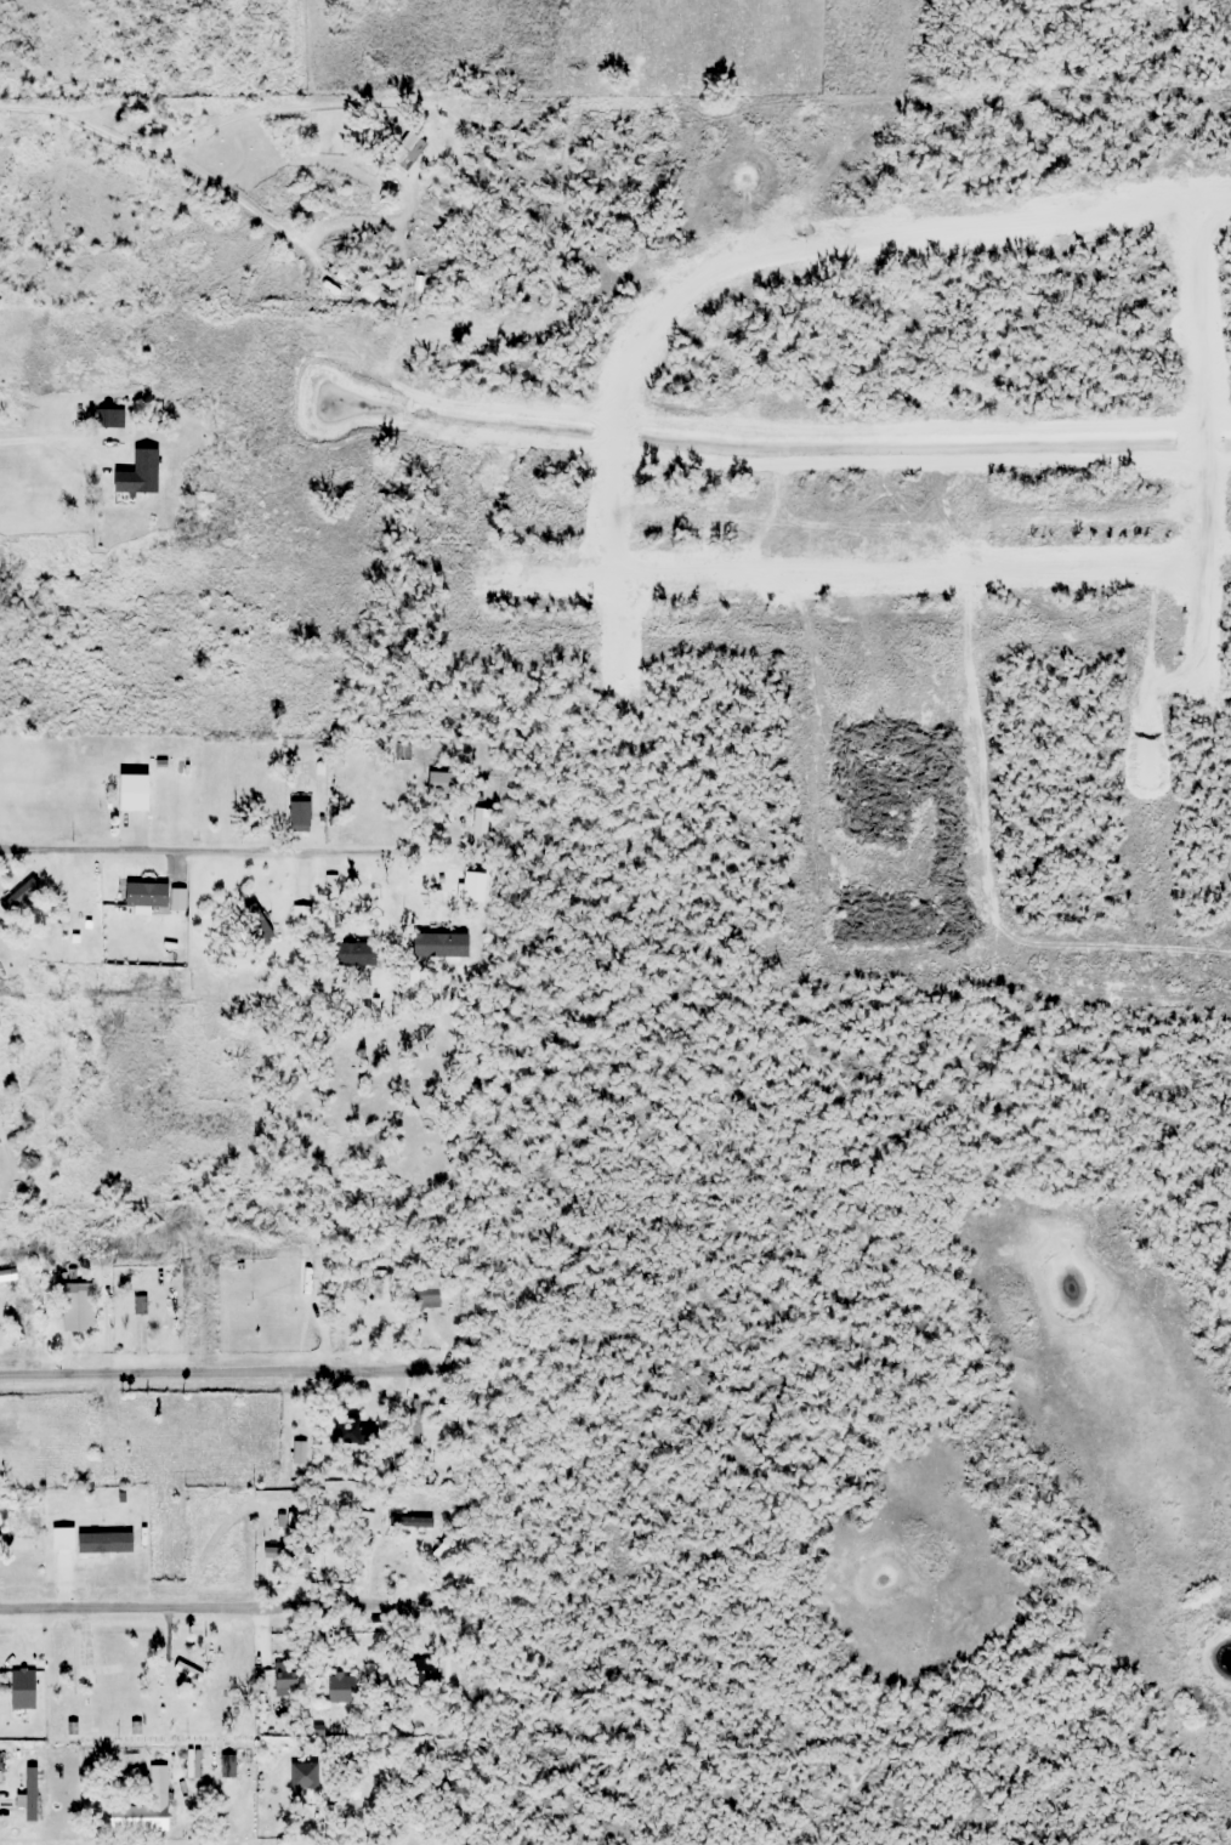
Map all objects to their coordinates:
park: (130, 114)
building: (407, 151)
road: (175, 159)
road: (748, 251)
building: (350, 285)
road: (1196, 448)
building: (124, 489)
road: (841, 569)
building: (313, 756)
building: (444, 783)
road: (183, 851)
building: (142, 895)
building: (302, 918)
building: (260, 938)
building: (347, 954)
building: (466, 958)
building: (2, 1097)
building: (87, 1238)
building: (307, 1255)
building: (426, 1298)
building: (76, 1308)
building: (171, 1313)
road: (188, 1373)
building: (347, 1432)
building: (412, 1523)
building: (19, 1544)
road: (127, 1607)
building: (287, 1681)
building: (22, 1690)
building: (341, 1690)
building: (1, 1764)
building: (376, 1776)
building: (306, 1782)
building: (30, 1794)
building: (143, 1807)

